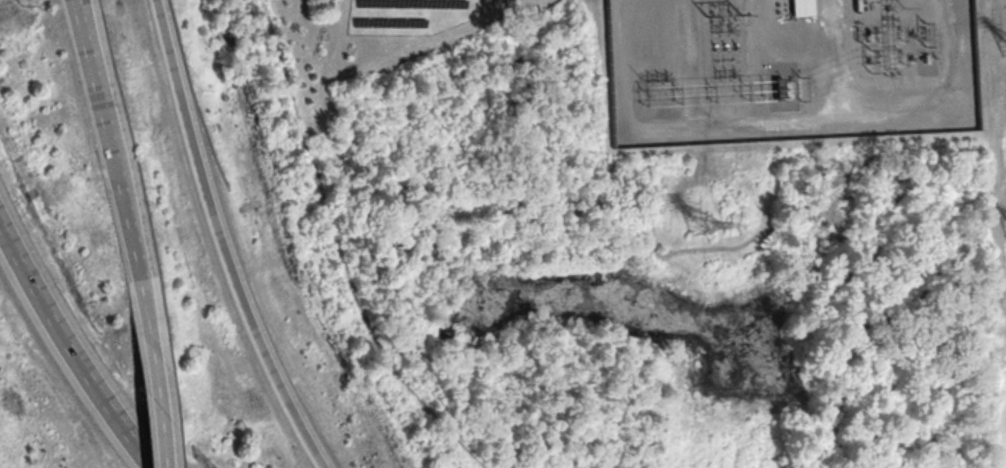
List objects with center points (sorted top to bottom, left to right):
road: (79, 6)
road: (80, 6)
building: (803, 7)
road: (760, 21)
road: (684, 24)
power substation: (786, 69)
road: (893, 108)
road: (115, 180)
power tower: (695, 223)
road: (220, 241)
road: (683, 248)
road: (71, 348)
road: (843, 388)
road: (156, 408)
road: (935, 418)

